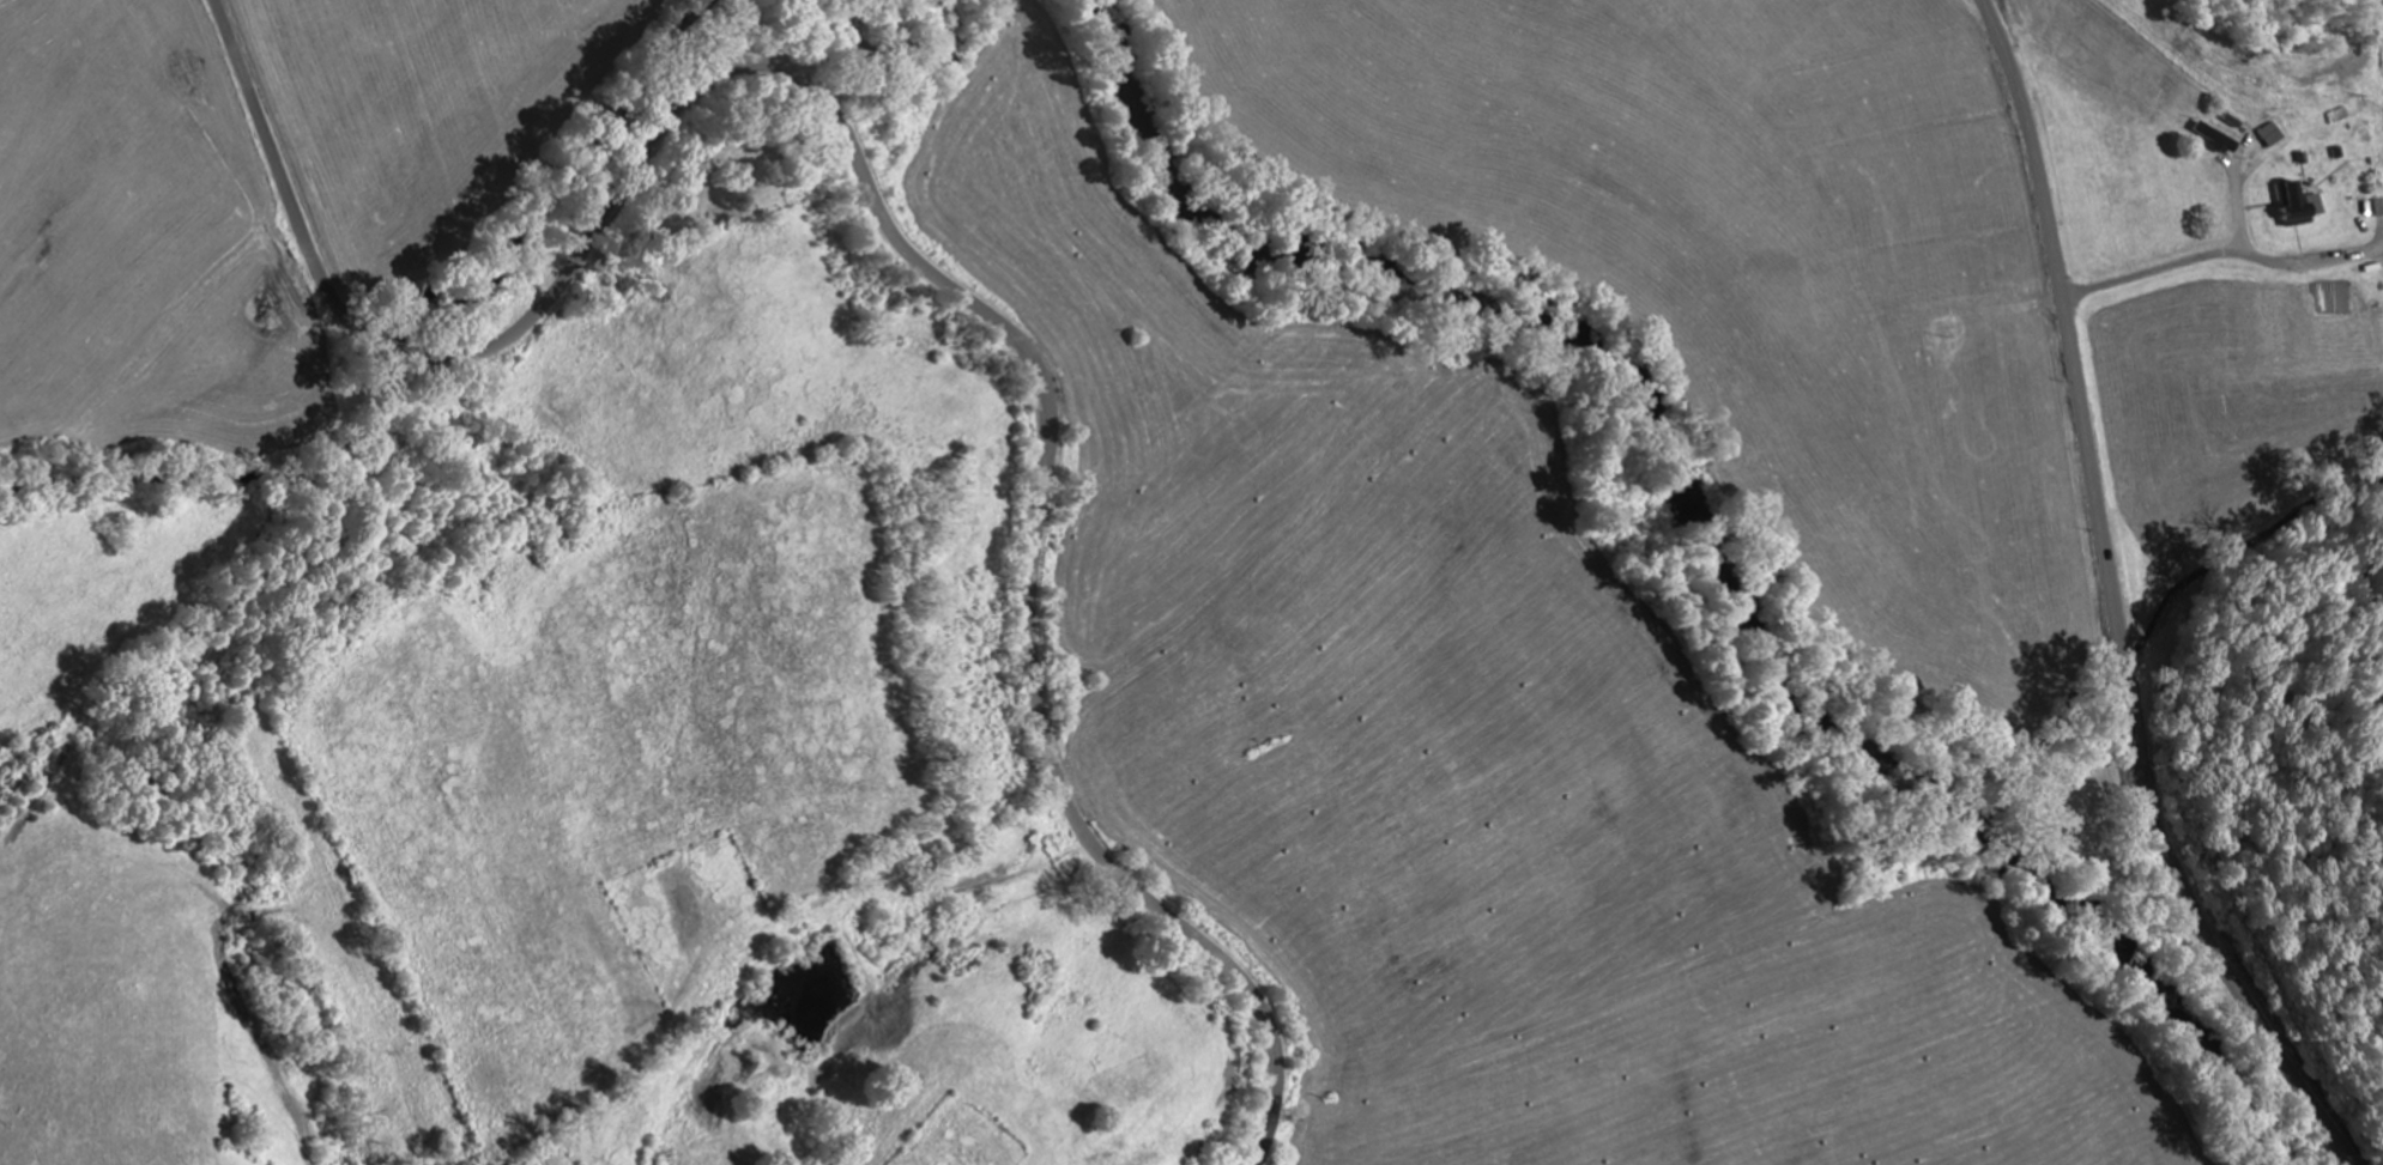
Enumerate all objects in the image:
building: (2273, 136)
building: (2218, 140)
park: (738, 176)
building: (2292, 208)
road: (883, 216)
road: (2220, 256)
river: (1716, 534)
road: (2113, 603)

